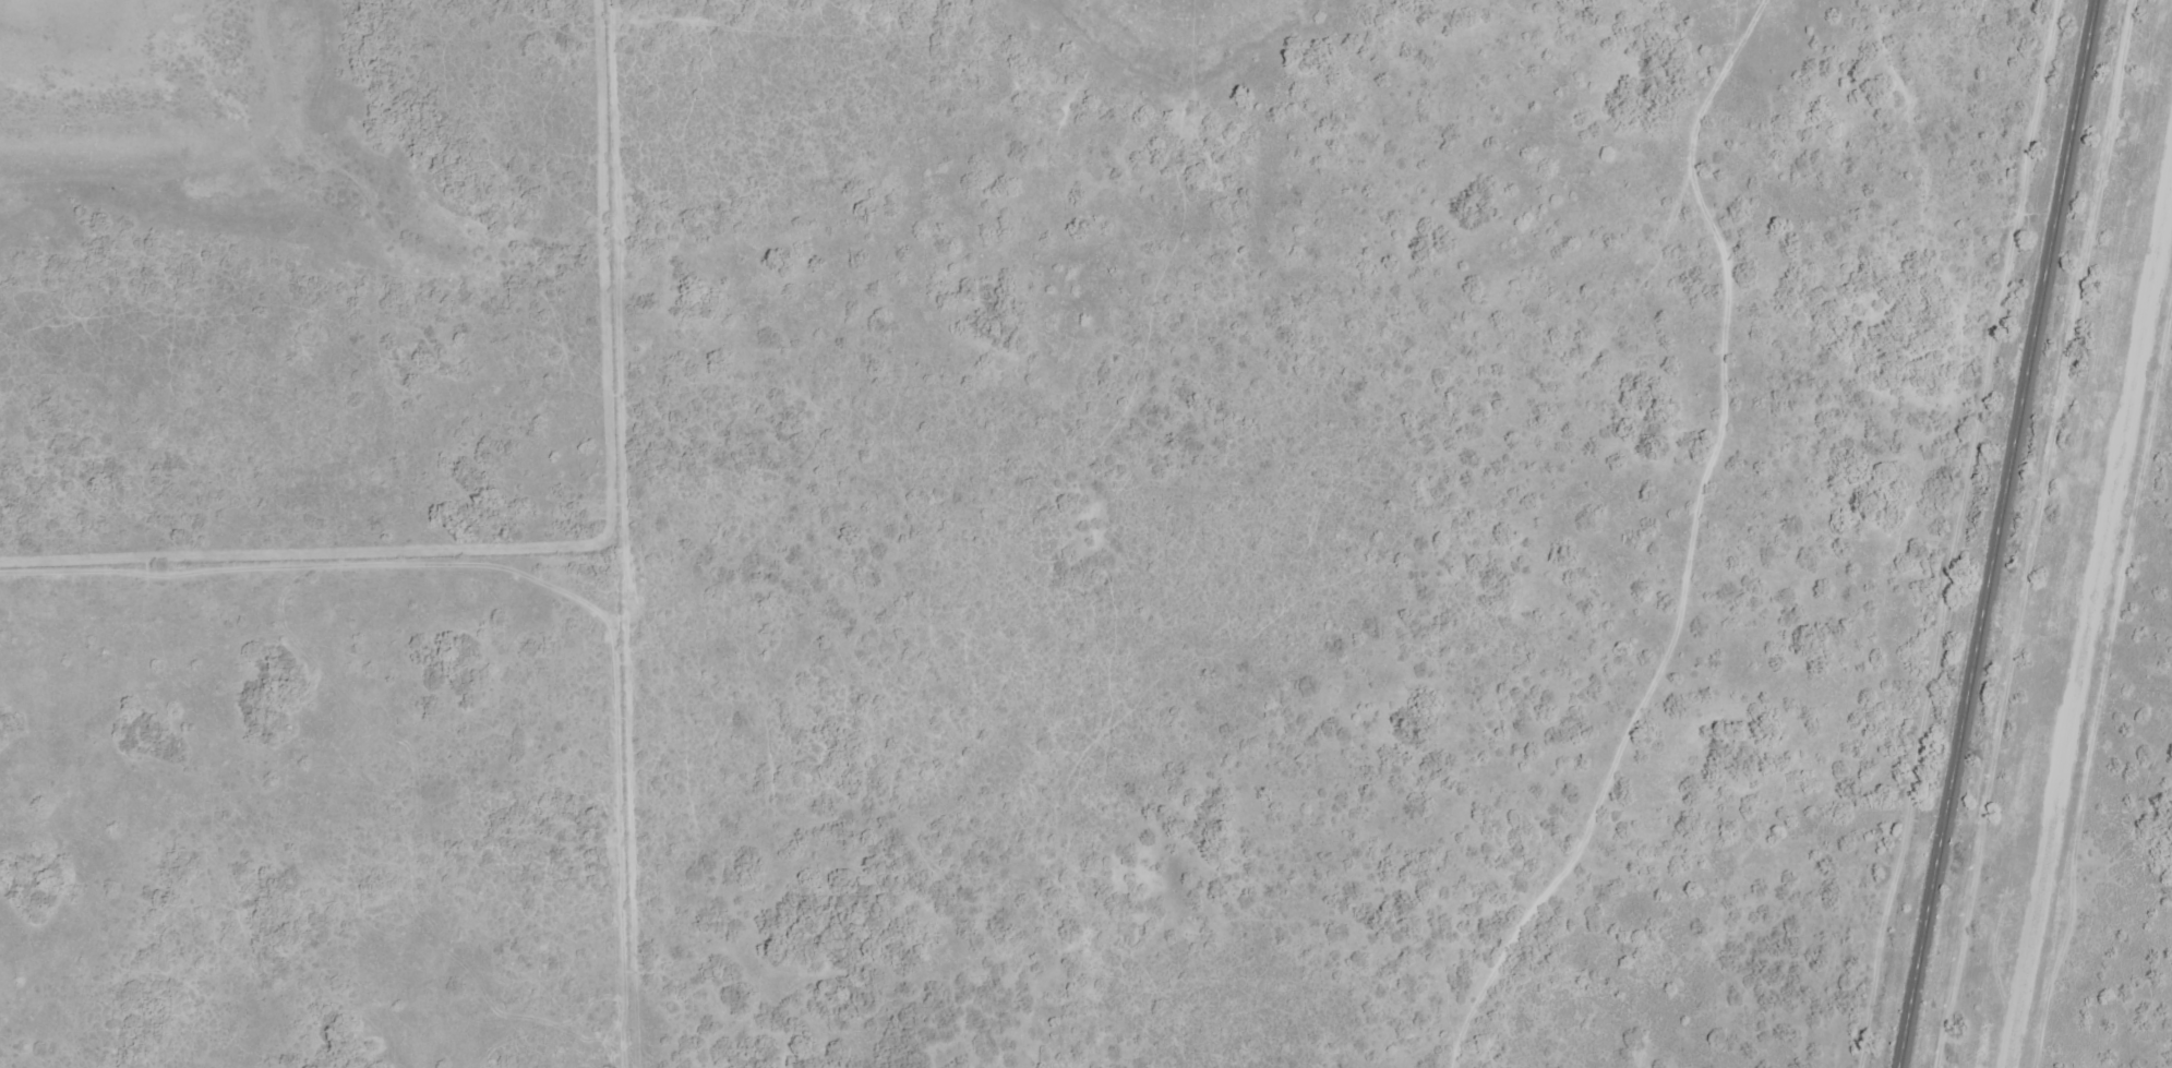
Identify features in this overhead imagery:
railway: (1997, 533)
road: (1901, 557)

